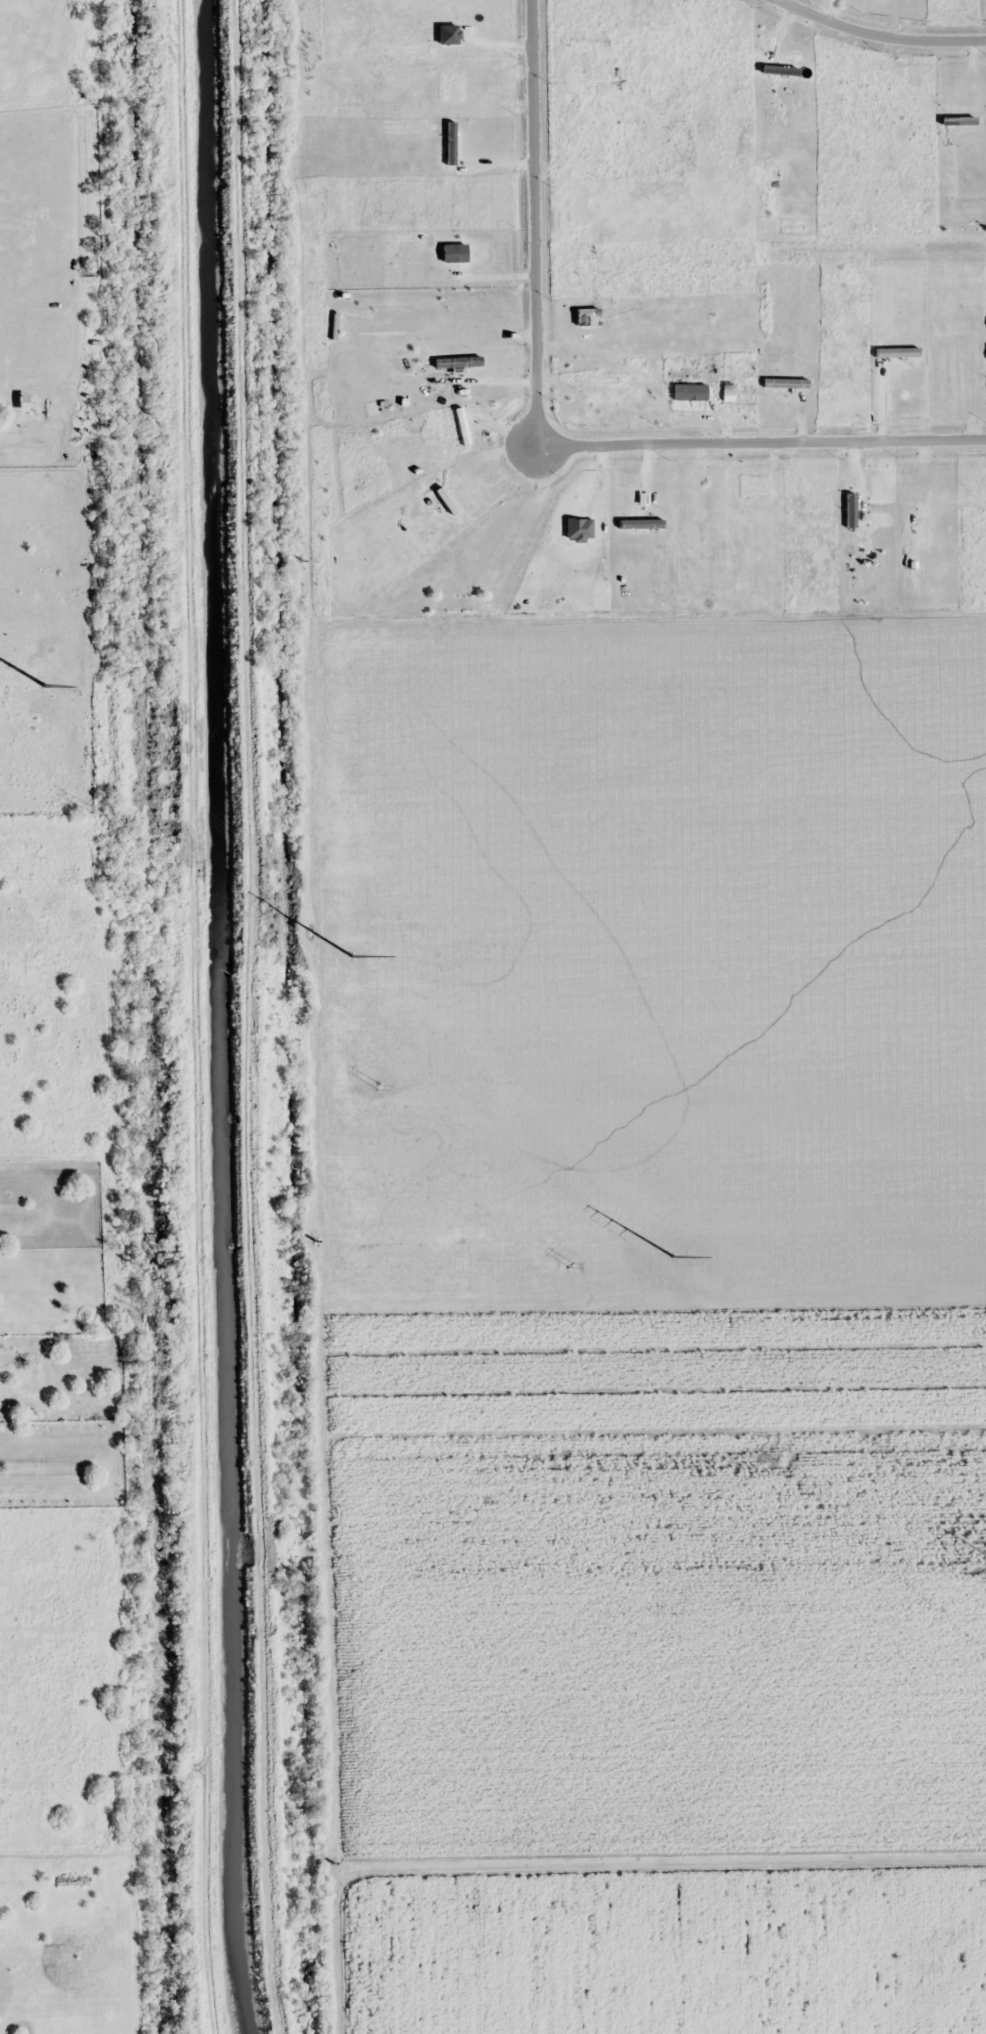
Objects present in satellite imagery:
power tower: (46, 685)
power tower: (84, 808)
power tower: (352, 955)
power tower: (378, 1085)
power tower: (676, 1257)
power tower: (570, 1263)
power tower: (778, 1457)

